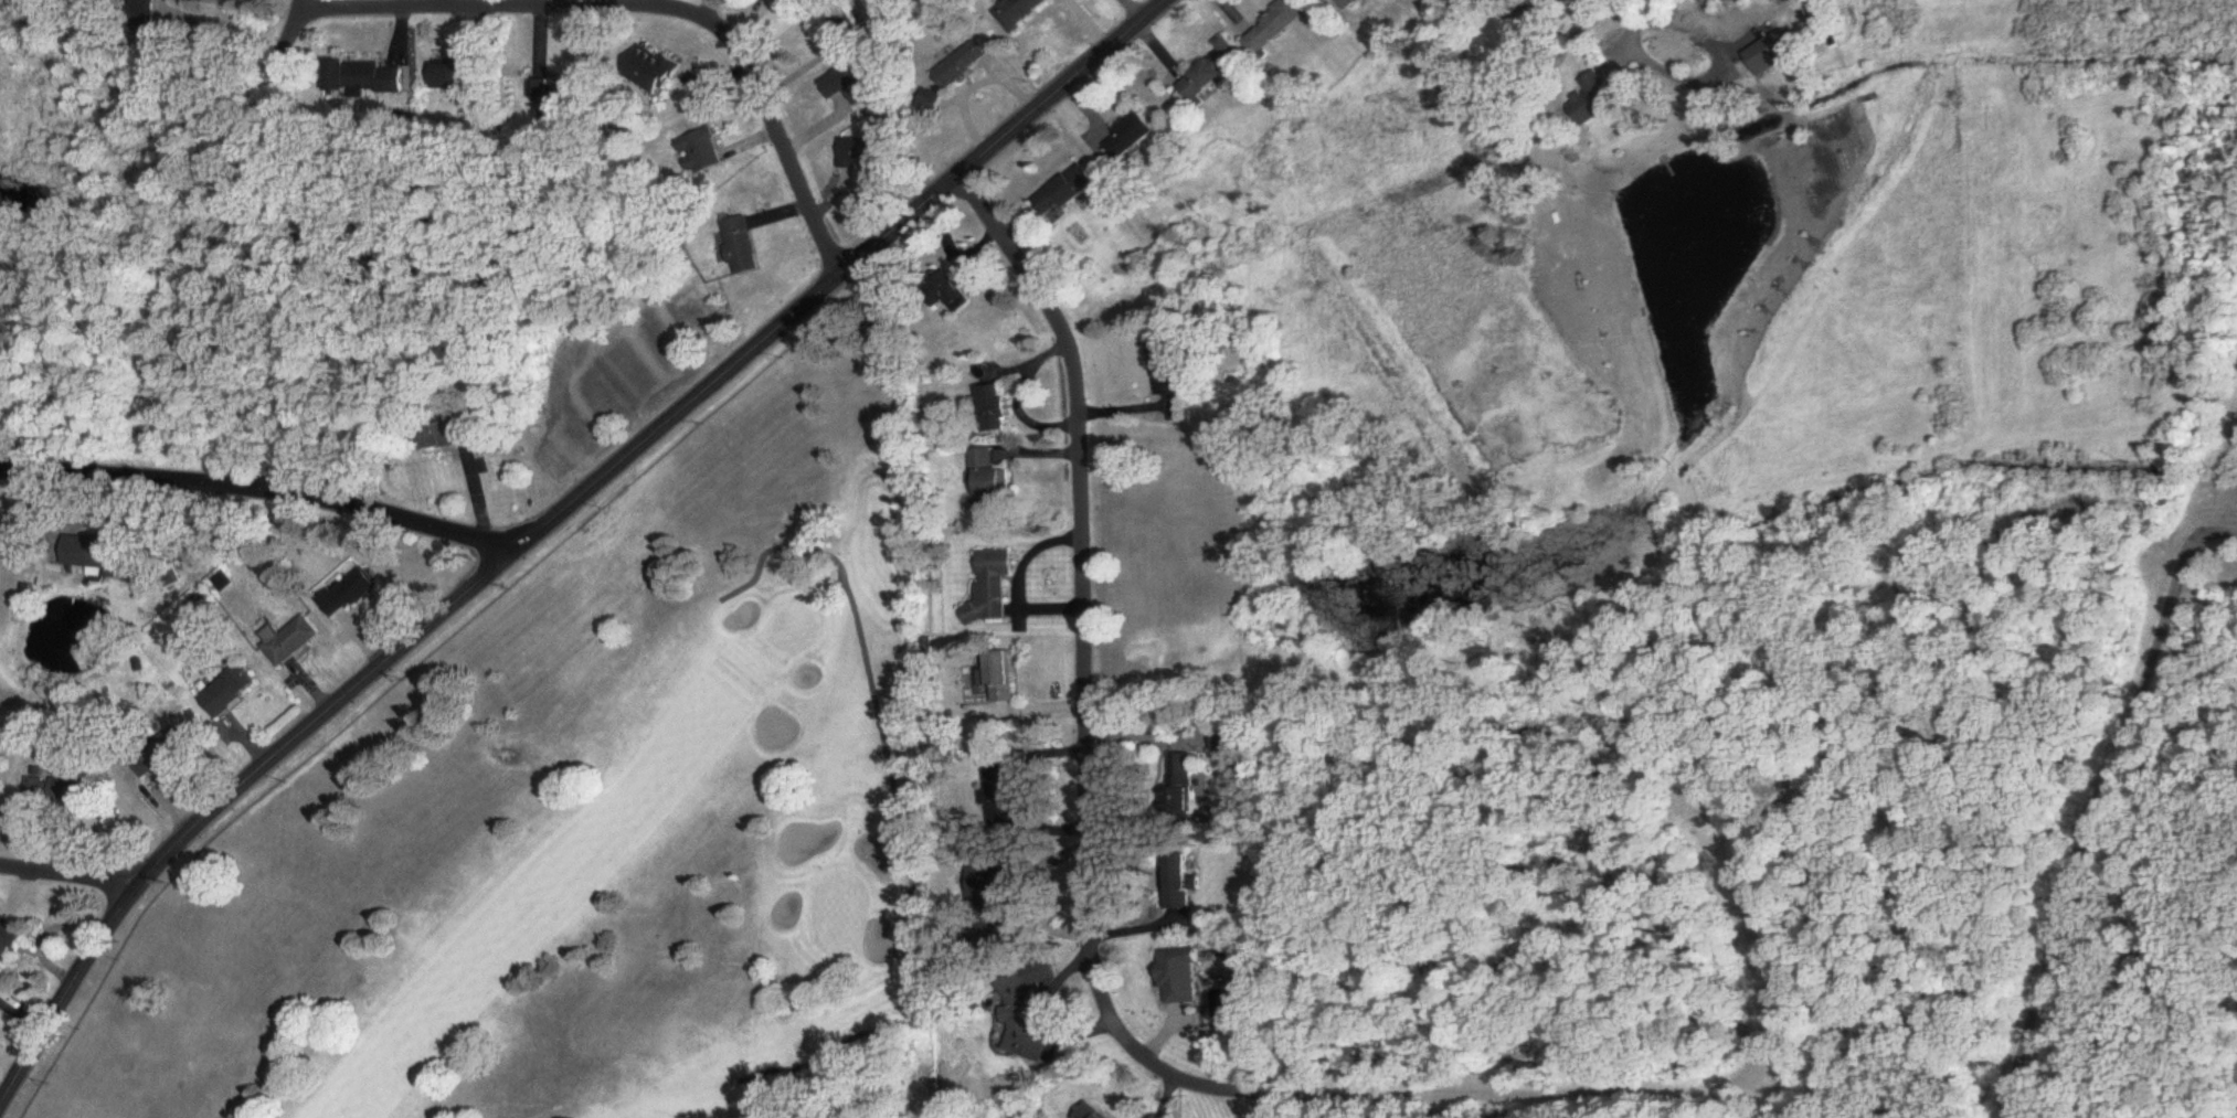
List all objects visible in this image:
building: (1357, 1)
building: (1375, 1)
road: (650, 11)
building: (1024, 13)
building: (140, 19)
building: (849, 23)
building: (1275, 26)
road: (1629, 29)
building: (1768, 57)
building: (966, 64)
building: (655, 71)
building: (1213, 71)
building: (456, 77)
building: (359, 78)
building: (854, 85)
building: (558, 100)
building: (1598, 100)
building: (933, 103)
building: (1133, 136)
building: (702, 152)
building: (858, 153)
building: (1067, 192)
road: (191, 233)
building: (740, 248)
road: (847, 279)
building: (953, 294)
building: (1166, 364)
building: (998, 409)
building: (445, 435)
building: (990, 483)
road: (262, 496)
building: (96, 554)
building: (994, 588)
building: (350, 595)
building: (289, 641)
building: (1005, 678)
building: (230, 692)
building: (160, 753)
building: (1001, 778)
building: (1186, 790)
building: (55, 794)
road: (223, 801)
road: (2101, 808)
park: (595, 832)
road: (67, 876)
building: (1183, 882)
building: (989, 884)
building: (18, 899)
building: (12, 940)
building: (1183, 979)
road: (1098, 987)
building: (1021, 1022)
building: (1090, 1112)

